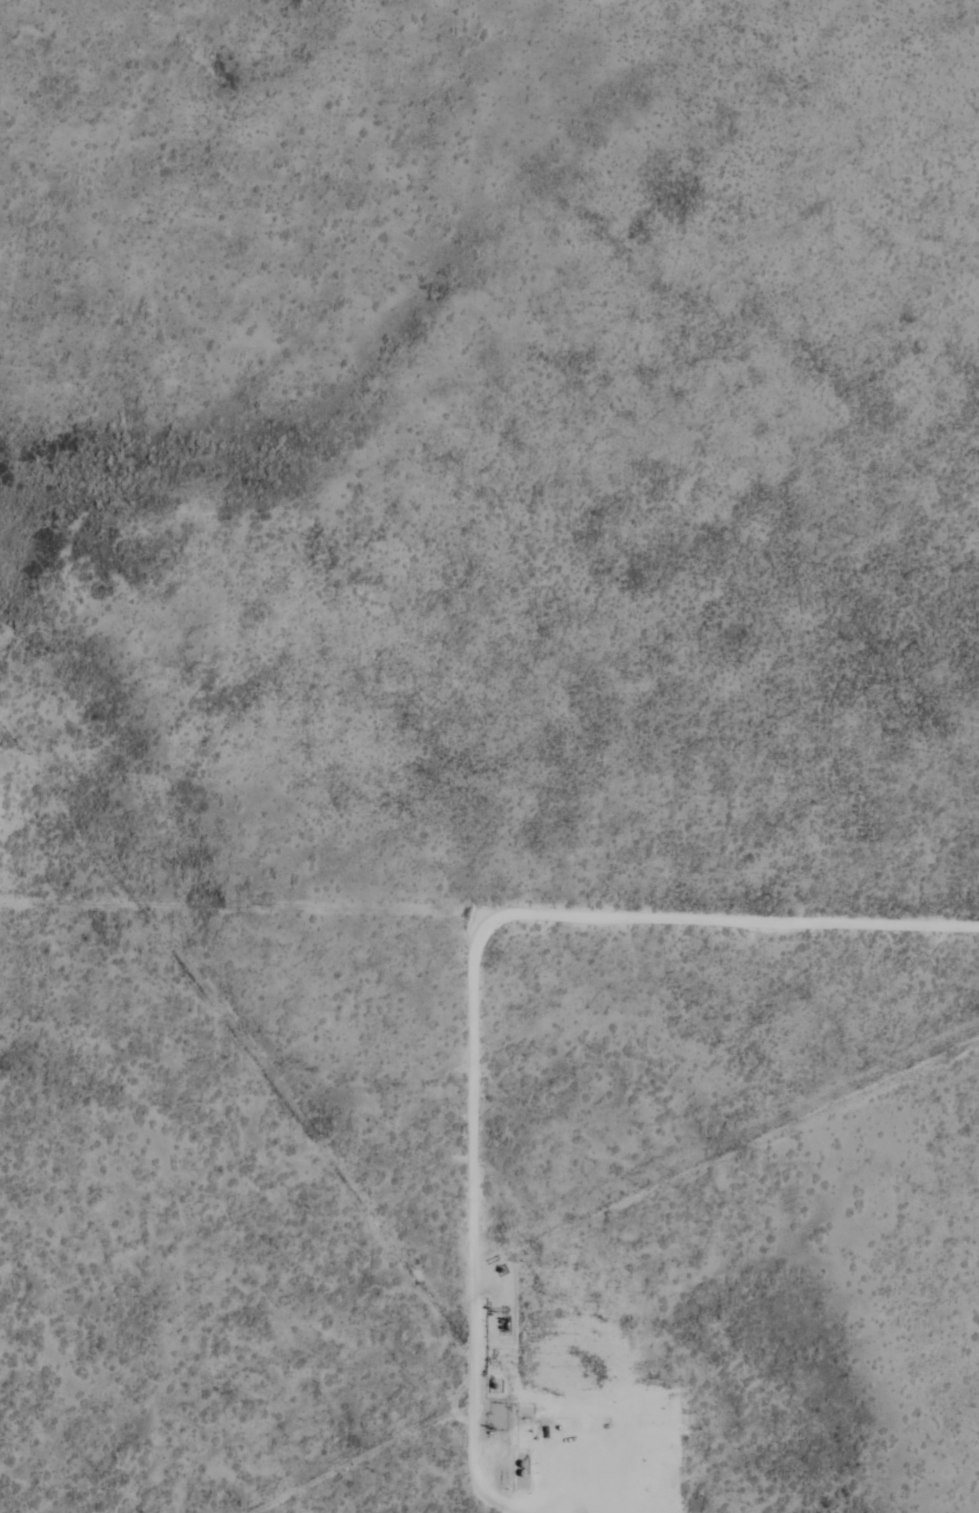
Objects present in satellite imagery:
road: (489, 913)

